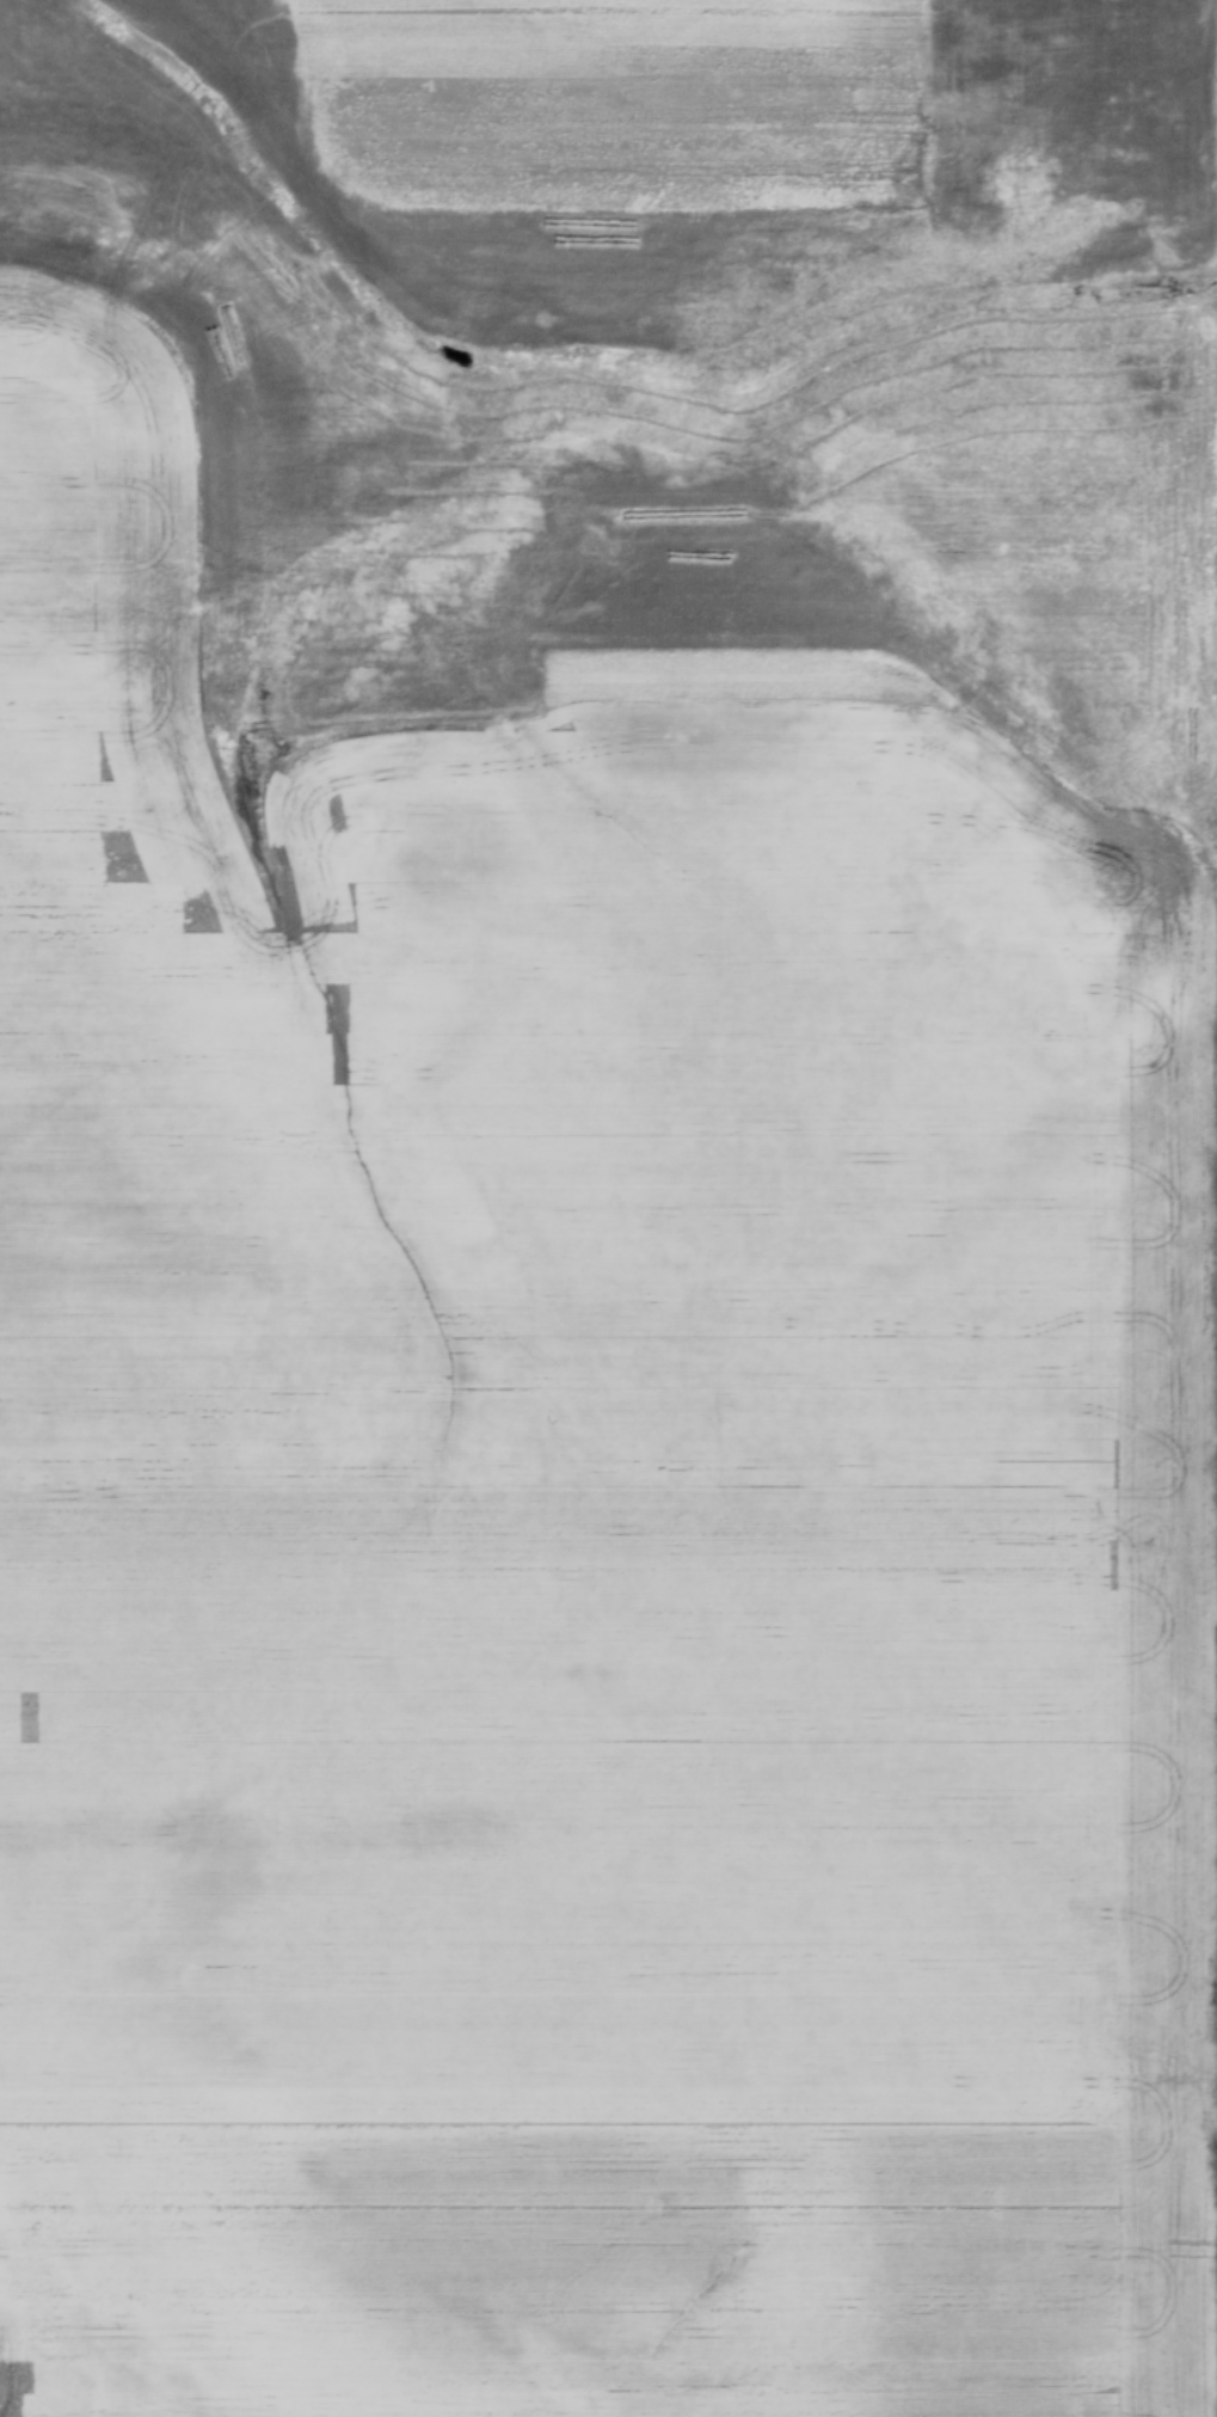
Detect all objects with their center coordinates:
building: (1213, 908)

